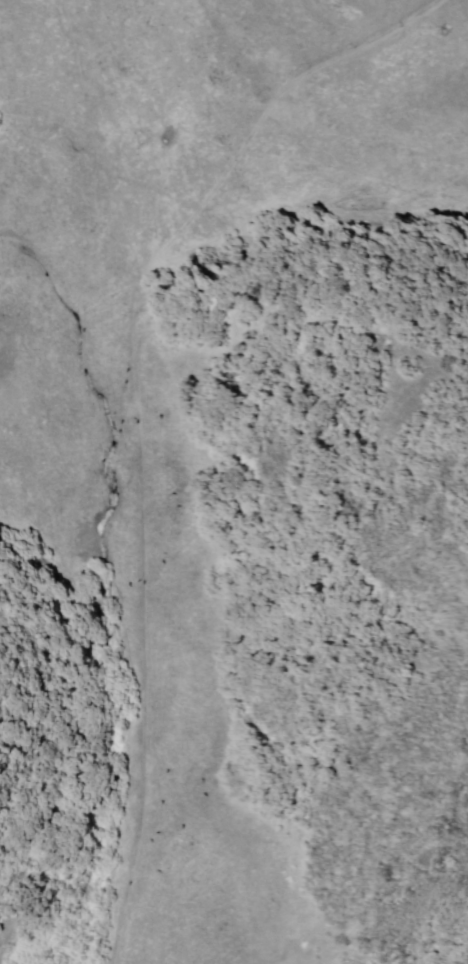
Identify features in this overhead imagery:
road: (123, 416)

